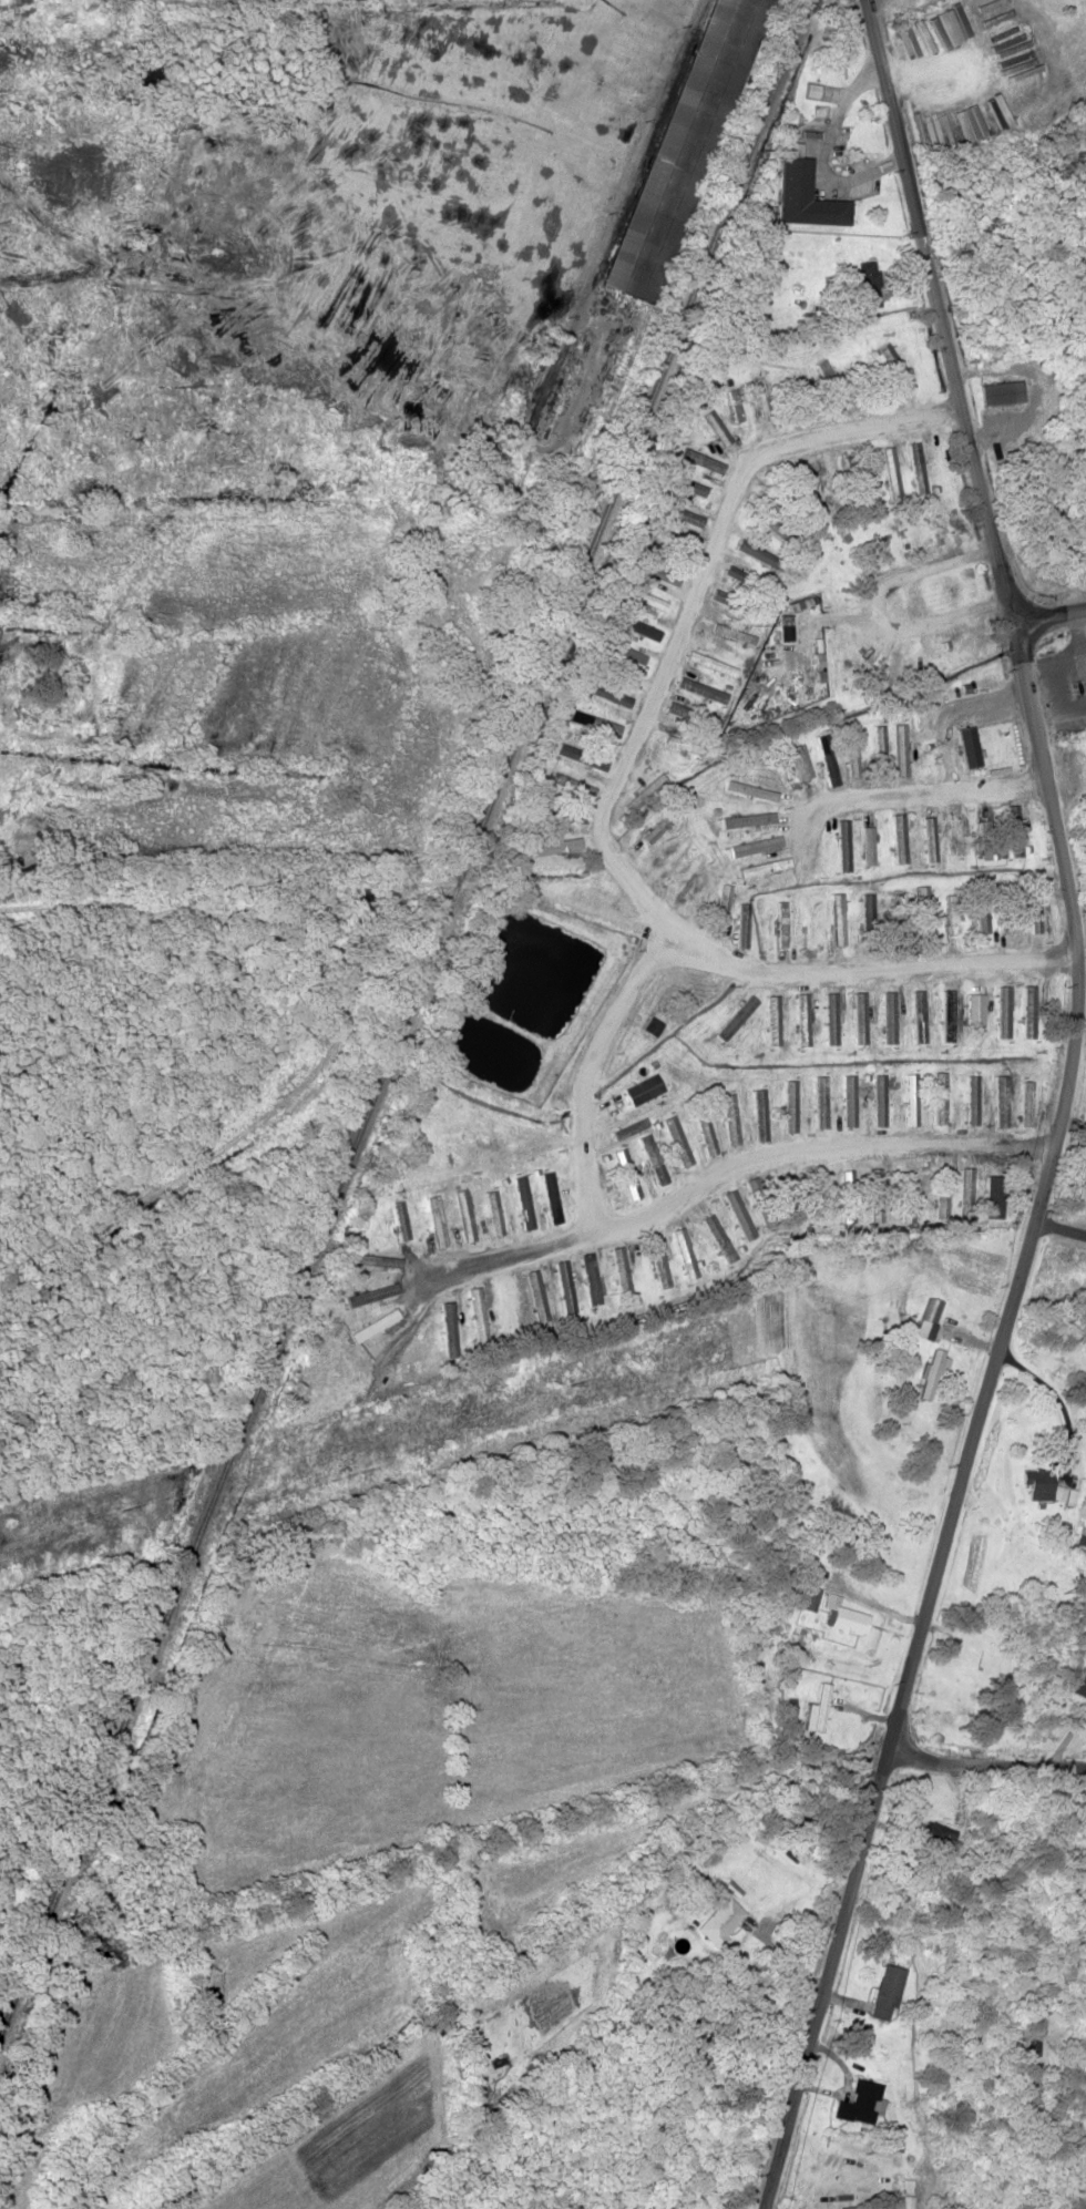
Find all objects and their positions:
building: (688, 149)
building: (806, 192)
building: (869, 290)
building: (1003, 391)
building: (690, 464)
building: (892, 469)
building: (679, 502)
building: (668, 533)
building: (756, 551)
building: (750, 583)
building: (645, 597)
building: (741, 606)
road: (878, 611)
road: (1051, 613)
building: (634, 625)
building: (623, 655)
building: (1077, 686)
building: (594, 722)
building: (691, 746)
building: (903, 746)
building: (971, 746)
building: (800, 761)
road: (602, 792)
building: (658, 826)
building: (962, 837)
building: (871, 845)
building: (673, 856)
building: (765, 868)
building: (689, 873)
building: (706, 891)
building: (926, 911)
building: (954, 913)
building: (744, 916)
building: (839, 918)
building: (868, 918)
building: (783, 921)
building: (811, 921)
building: (977, 1009)
building: (950, 1015)
railway: (403, 1017)
building: (831, 1017)
building: (803, 1019)
building: (773, 1022)
building: (653, 1025)
road: (591, 1070)
building: (819, 1091)
building: (881, 1096)
building: (946, 1101)
road: (1065, 1109)
building: (693, 1129)
road: (745, 1160)
building: (910, 1196)
building: (522, 1201)
building: (552, 1203)
building: (398, 1223)
road: (1062, 1223)
building: (720, 1236)
building: (660, 1264)
building: (568, 1291)
building: (542, 1300)
building: (509, 1305)
building: (933, 1310)
building: (930, 1373)
building: (1037, 1490)
building: (1063, 1494)
building: (816, 1573)
building: (809, 1596)
building: (847, 1619)
building: (1079, 1685)
building: (819, 1708)
road: (1004, 1768)
building: (721, 1917)
building: (884, 1991)
building: (1026, 2042)
building: (860, 2100)

